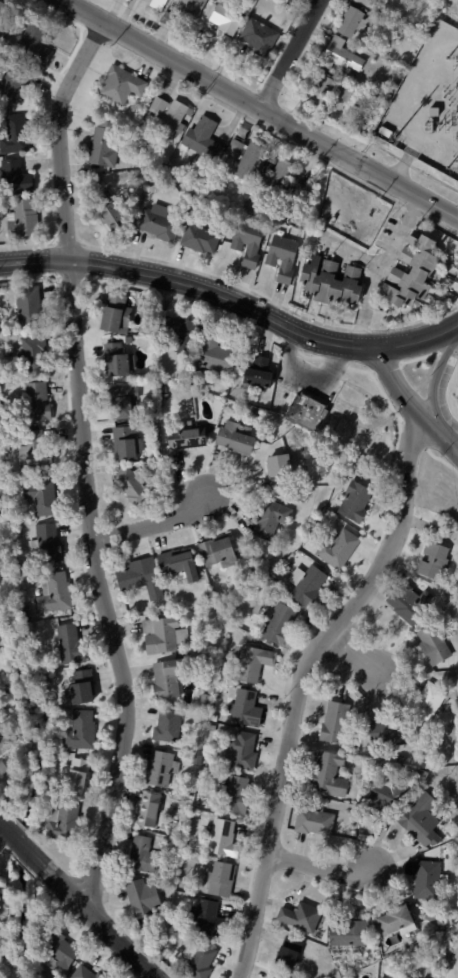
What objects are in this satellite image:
building: (285, 1)
building: (298, 3)
building: (372, 3)
building: (161, 5)
building: (190, 8)
building: (442, 13)
building: (6, 16)
building: (227, 18)
building: (391, 22)
building: (358, 23)
building: (261, 38)
building: (37, 40)
road: (289, 53)
building: (345, 57)
building: (398, 71)
building: (15, 82)
building: (123, 85)
building: (330, 90)
power substation: (427, 104)
road: (259, 108)
building: (435, 112)
building: (172, 116)
building: (388, 134)
building: (16, 135)
building: (204, 141)
building: (106, 145)
building: (248, 157)
building: (225, 159)
building: (17, 178)
building: (282, 184)
building: (112, 211)
building: (322, 213)
building: (24, 218)
building: (160, 224)
building: (200, 239)
building: (251, 241)
building: (285, 257)
road: (378, 267)
building: (415, 272)
road: (159, 277)
building: (333, 283)
building: (30, 308)
building: (115, 312)
building: (182, 332)
road: (418, 339)
building: (130, 340)
road: (341, 346)
building: (35, 355)
building: (216, 355)
building: (117, 358)
building: (260, 374)
road: (308, 374)
building: (193, 382)
road: (392, 382)
road: (433, 385)
building: (123, 401)
building: (39, 402)
building: (258, 410)
building: (308, 412)
road: (435, 436)
building: (189, 437)
building: (239, 438)
building: (128, 444)
building: (36, 452)
road: (87, 462)
building: (282, 471)
building: (314, 482)
building: (140, 484)
building: (44, 496)
building: (304, 498)
building: (356, 501)
building: (272, 519)
road: (154, 521)
building: (49, 545)
building: (339, 548)
building: (222, 553)
building: (437, 561)
building: (182, 565)
building: (21, 574)
building: (143, 579)
building: (310, 585)
building: (268, 590)
building: (283, 591)
building: (56, 594)
building: (273, 594)
building: (211, 600)
building: (413, 604)
building: (260, 607)
building: (226, 616)
building: (281, 624)
building: (233, 632)
building: (165, 636)
building: (73, 646)
building: (436, 646)
road: (357, 652)
building: (254, 663)
building: (171, 678)
building: (45, 681)
road: (301, 685)
building: (84, 689)
building: (213, 691)
building: (426, 699)
building: (207, 703)
building: (2, 705)
building: (246, 710)
building: (448, 711)
building: (51, 717)
building: (215, 719)
building: (337, 719)
building: (1, 726)
building: (169, 726)
building: (214, 728)
building: (388, 730)
building: (83, 732)
building: (10, 741)
building: (244, 751)
building: (404, 759)
building: (200, 761)
building: (7, 765)
building: (163, 769)
building: (331, 776)
building: (78, 778)
building: (238, 796)
building: (387, 796)
building: (150, 811)
building: (422, 820)
building: (316, 822)
building: (66, 823)
road: (9, 829)
building: (225, 840)
road: (26, 846)
building: (445, 851)
building: (144, 856)
road: (324, 867)
building: (429, 879)
building: (224, 881)
building: (3, 887)
building: (9, 895)
building: (146, 898)
road: (96, 917)
building: (302, 918)
building: (209, 919)
building: (398, 921)
building: (429, 926)
building: (352, 933)
building: (415, 942)
building: (376, 945)
building: (61, 950)
building: (292, 955)
building: (201, 960)
building: (87, 973)
building: (284, 976)
building: (352, 977)
building: (389, 977)

